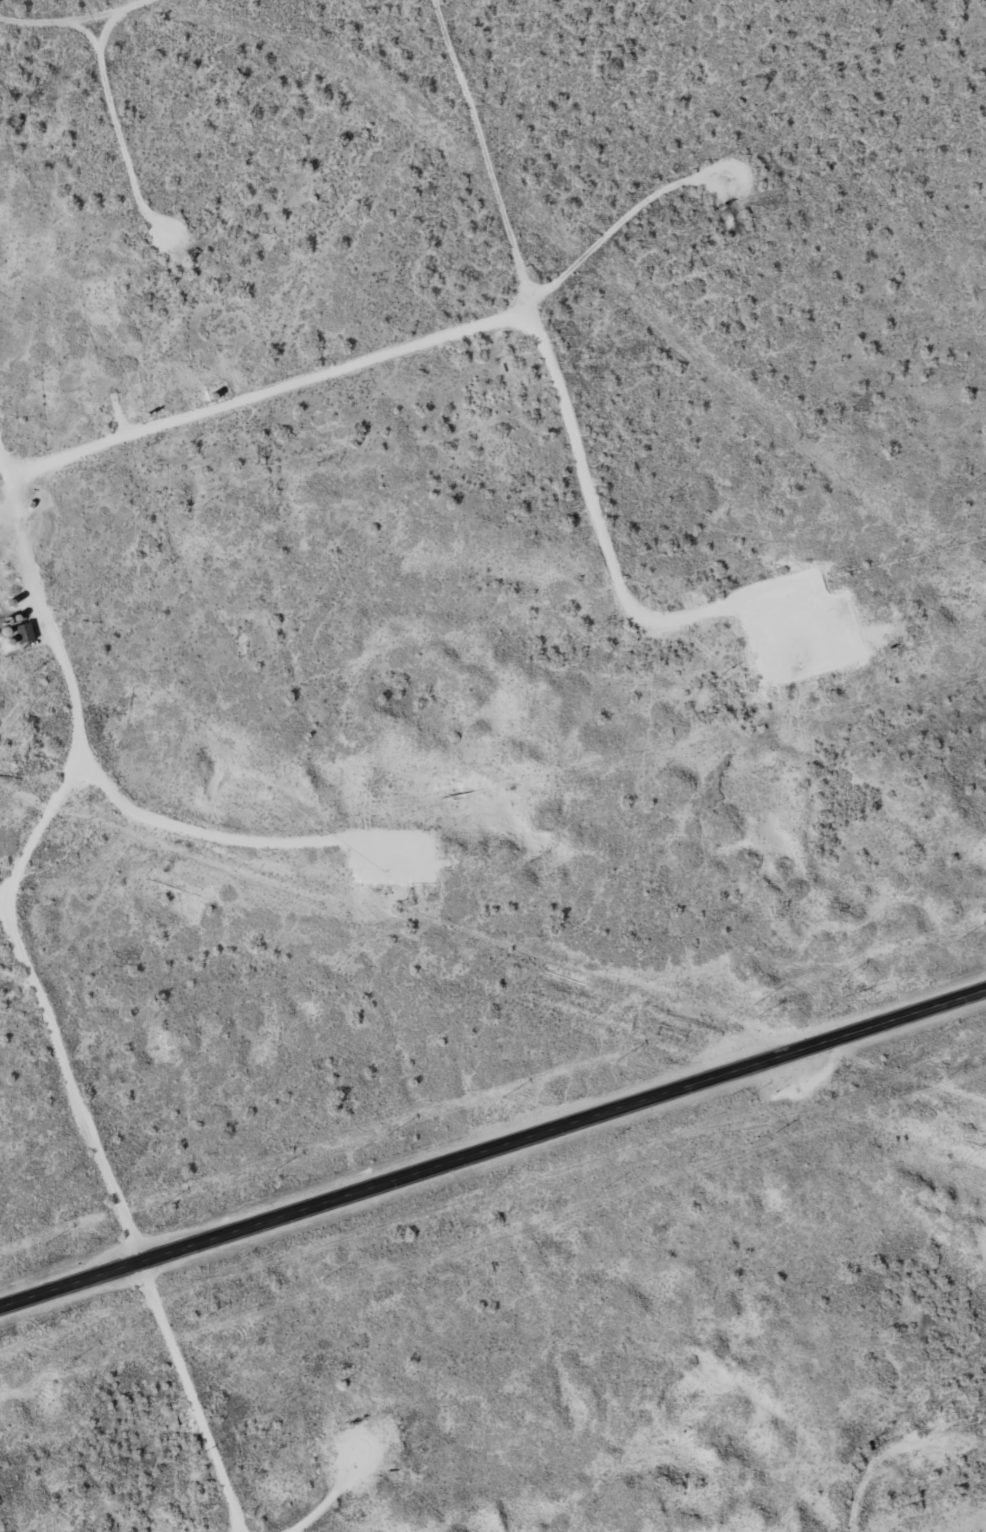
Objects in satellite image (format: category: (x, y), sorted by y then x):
road: (93, 22)
road: (272, 401)
road: (597, 479)
road: (49, 1003)
road: (492, 1143)
road: (884, 1511)

